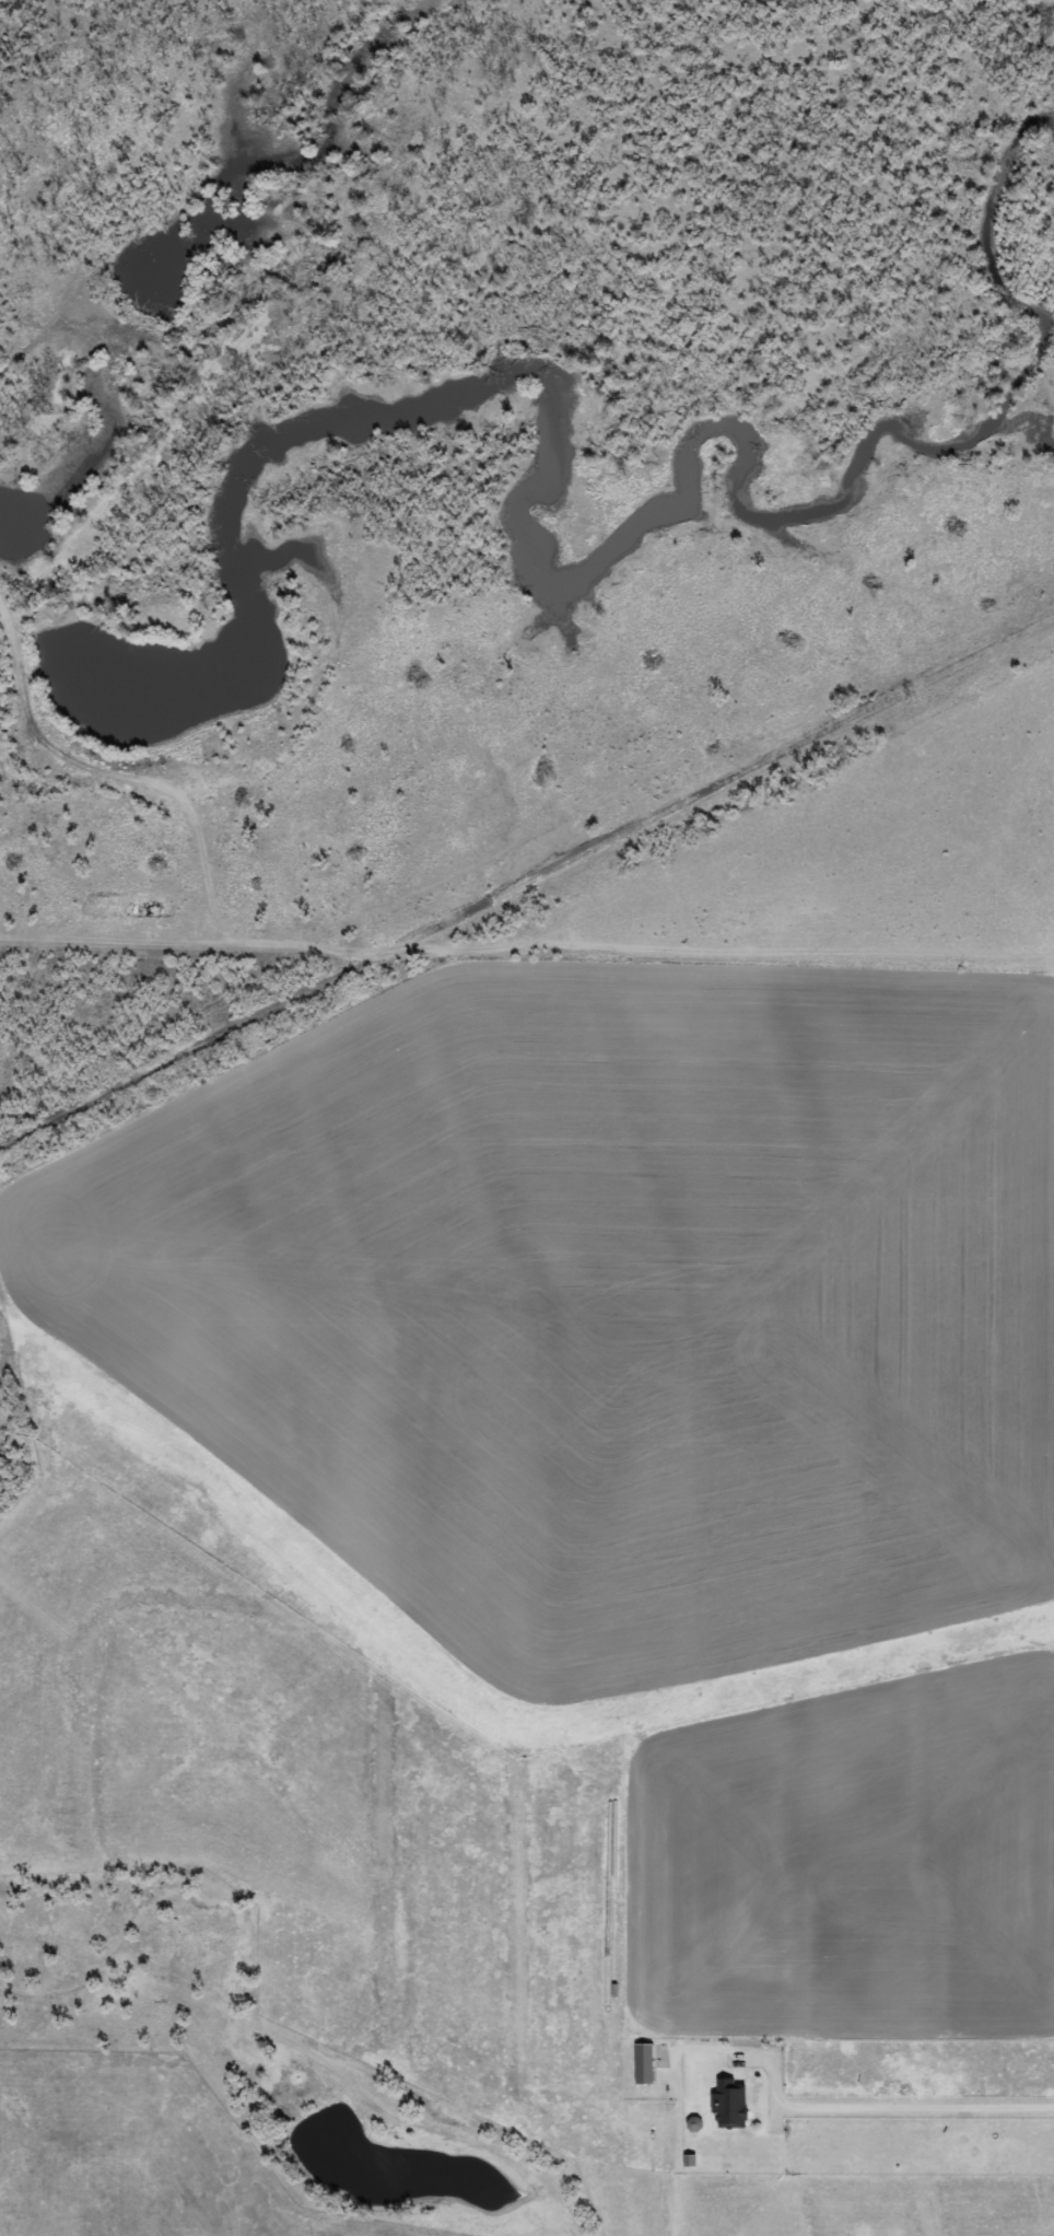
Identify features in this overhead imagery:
railway: (527, 883)
building: (726, 2104)

